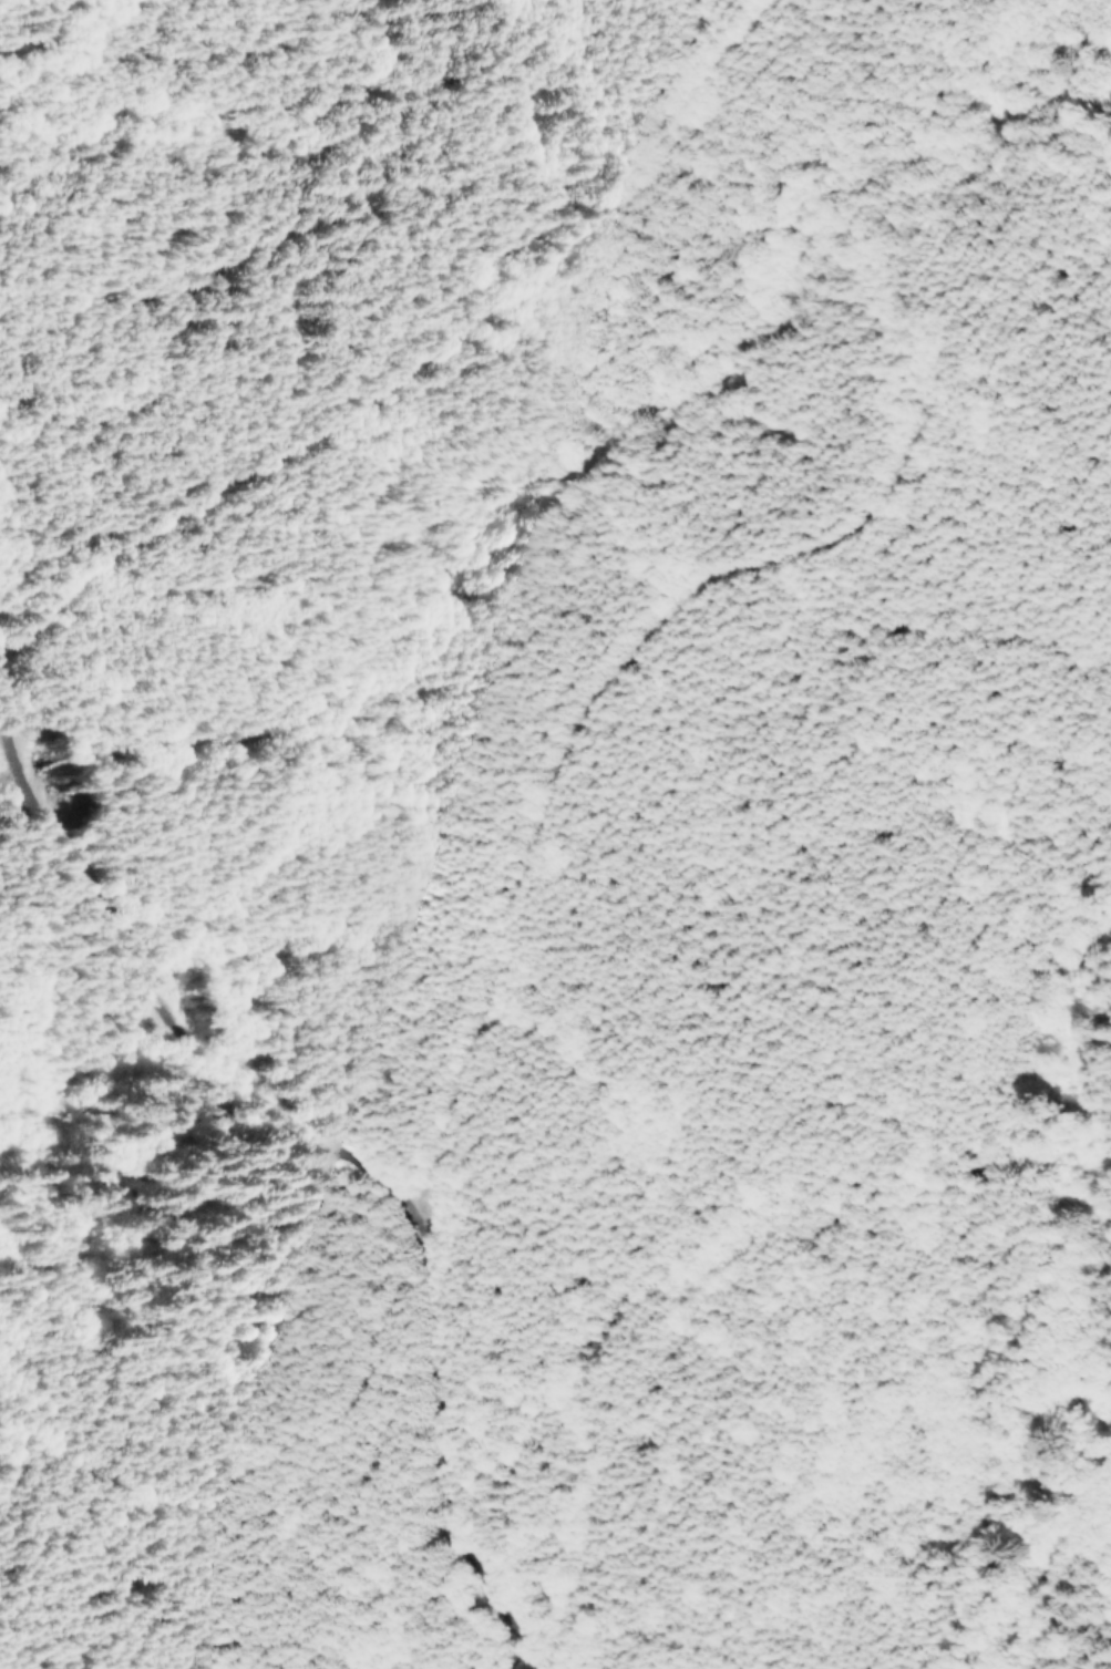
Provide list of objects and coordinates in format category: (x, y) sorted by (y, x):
road: (331, 1161)

